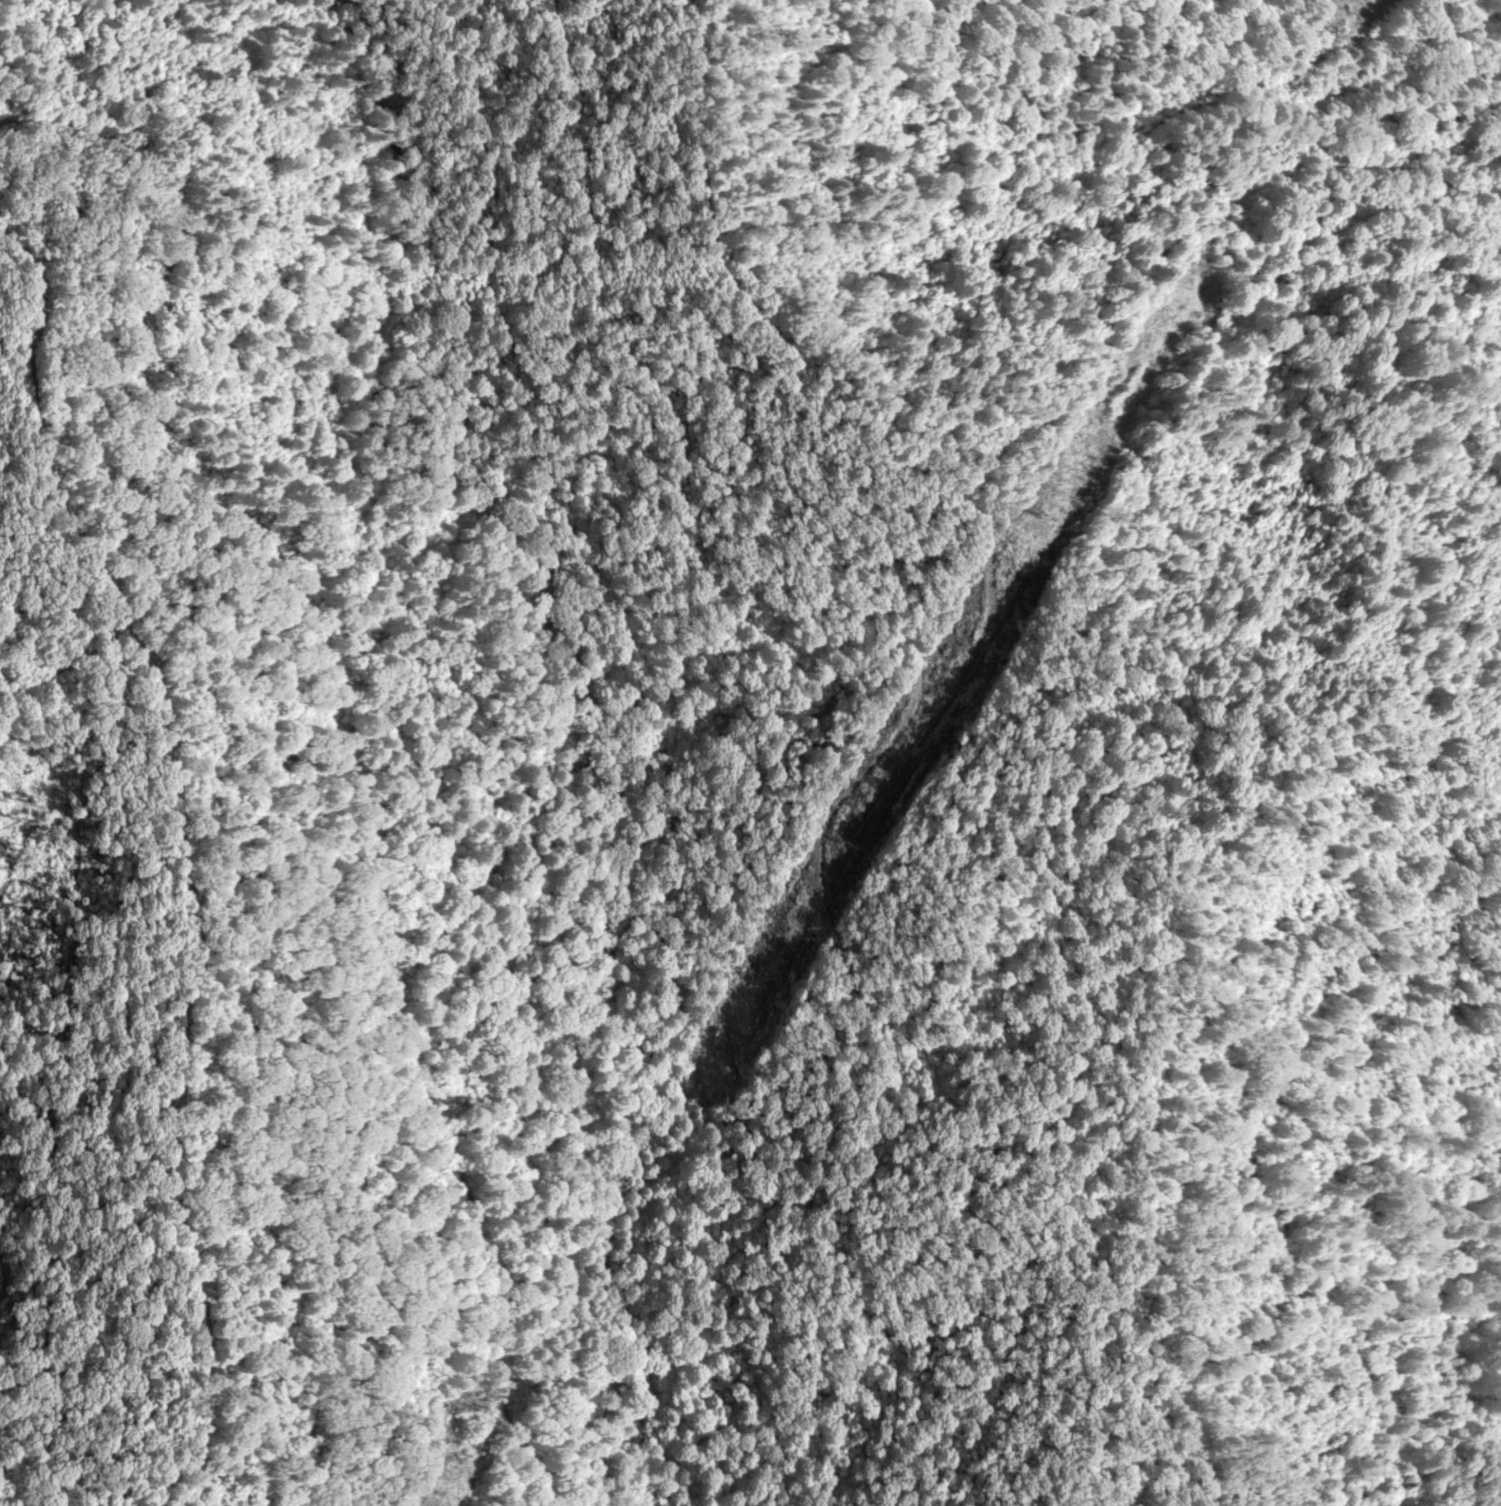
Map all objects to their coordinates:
power tower: (1033, 516)

